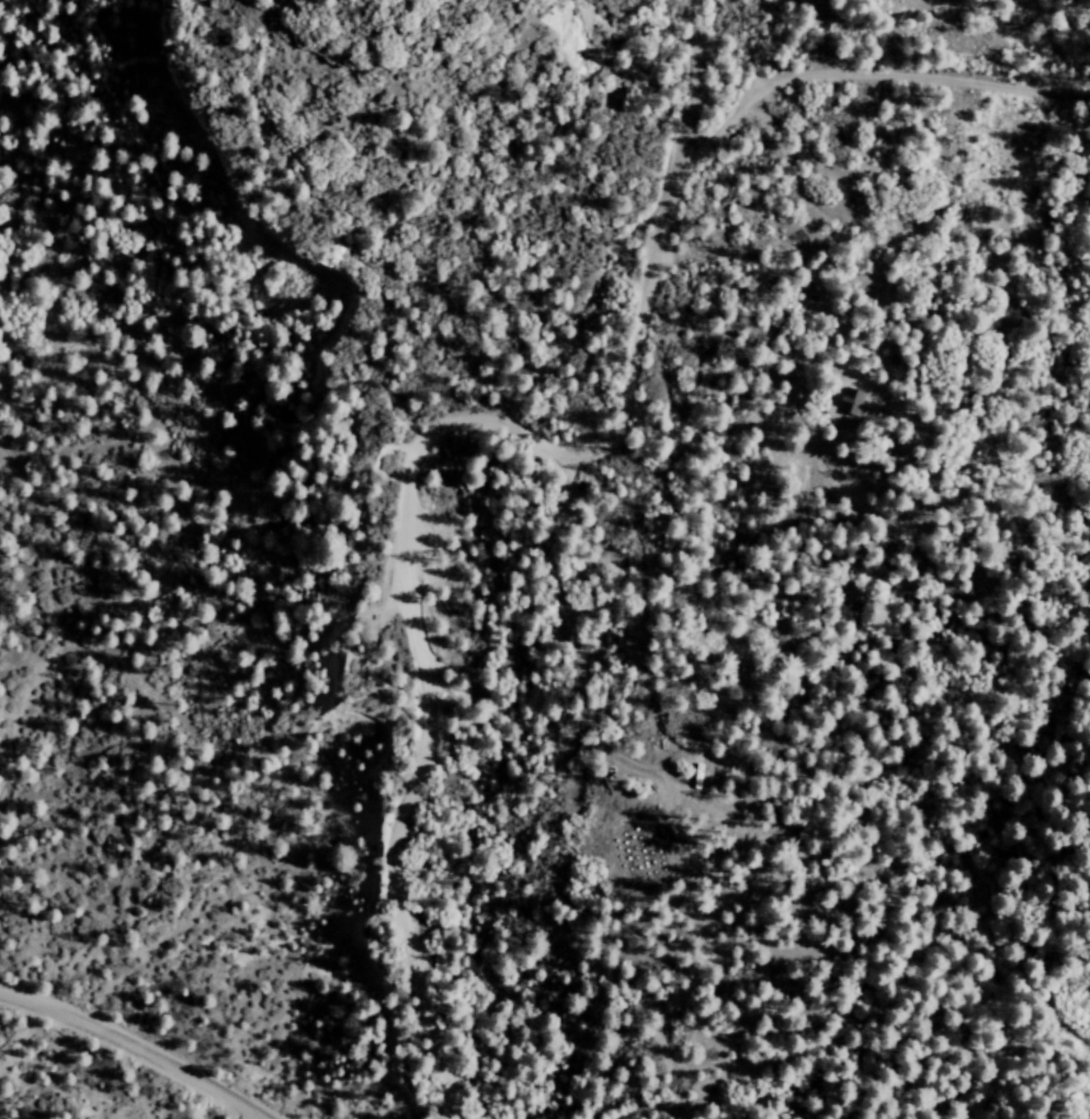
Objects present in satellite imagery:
road: (772, 44)
road: (864, 76)
building: (851, 399)
road: (410, 463)
road: (135, 1049)

